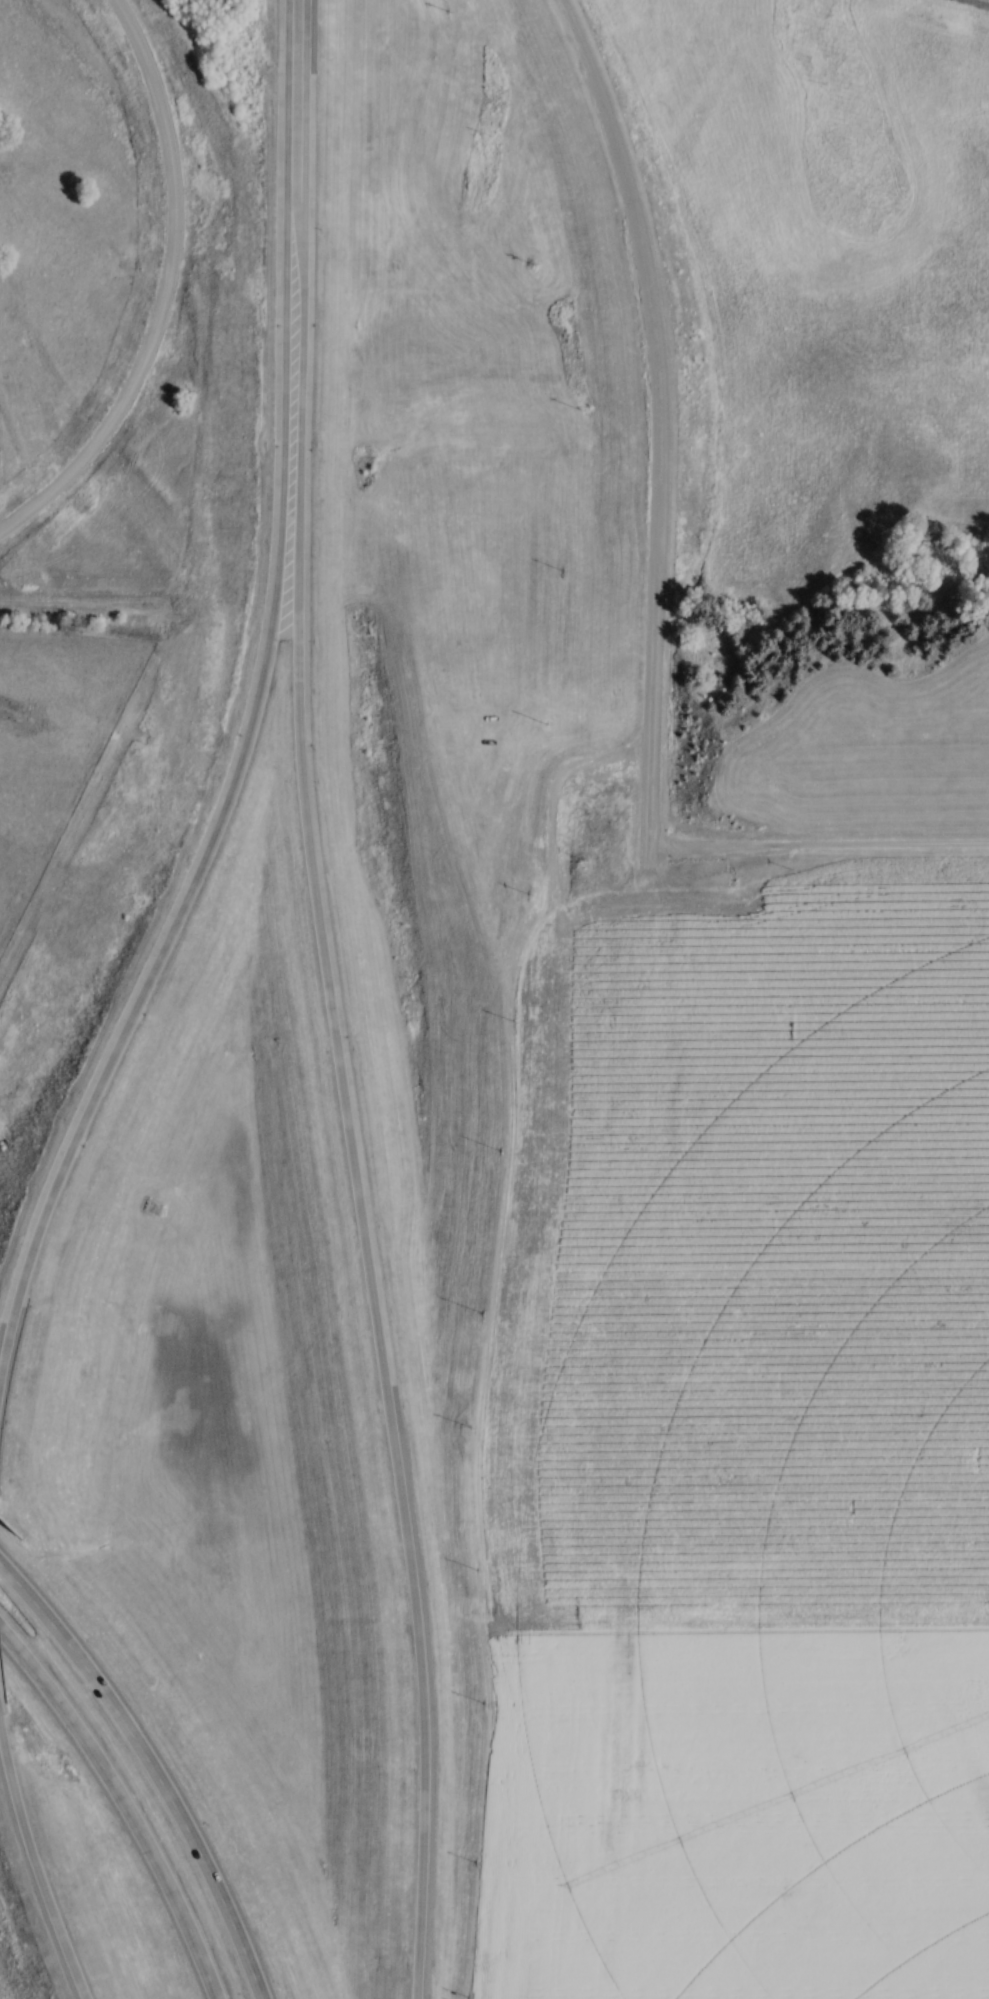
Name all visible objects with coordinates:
road: (292, 243)
road: (167, 291)
road: (662, 429)
road: (820, 847)
road: (166, 931)
road: (365, 1242)
road: (152, 1768)
road: (124, 1804)
road: (36, 1871)

